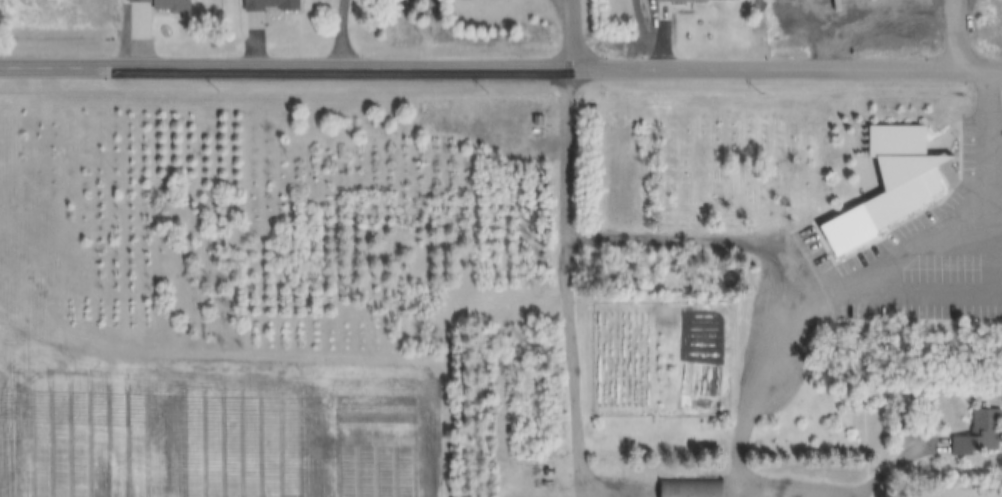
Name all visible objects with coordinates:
building: (163, 5)
building: (270, 6)
building: (663, 12)
road: (346, 32)
road: (567, 32)
road: (835, 32)
road: (959, 33)
road: (501, 64)
building: (883, 187)
road: (994, 197)
road: (721, 238)
road: (562, 284)
road: (787, 352)
building: (979, 434)
road: (793, 484)
building: (690, 488)

